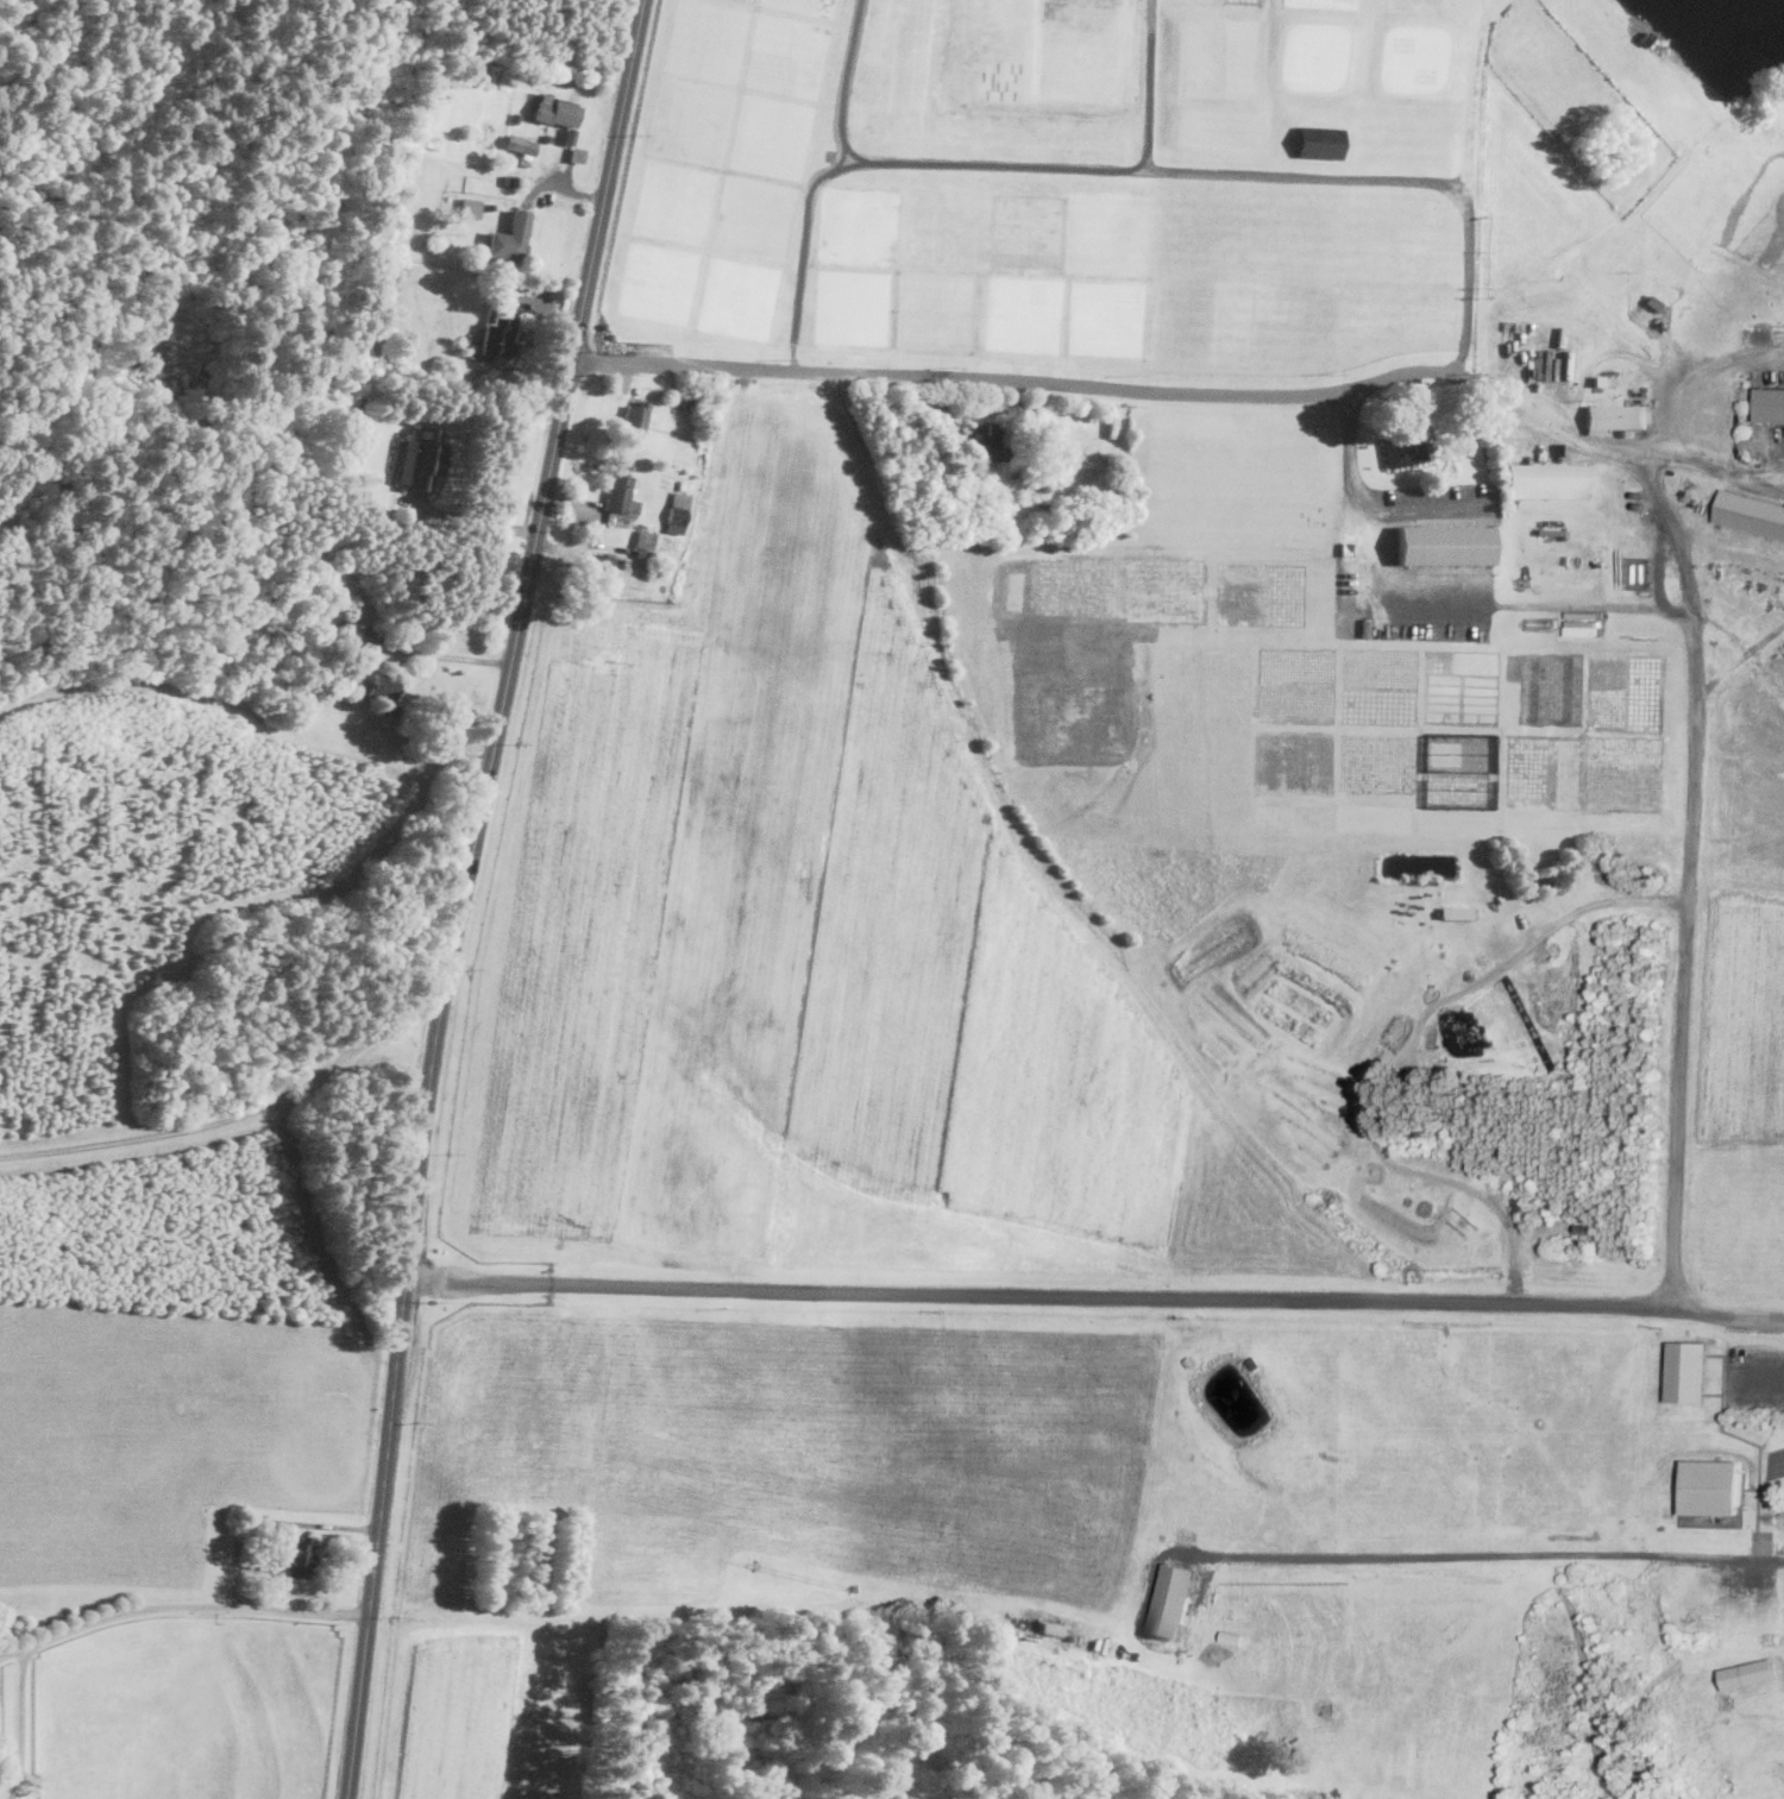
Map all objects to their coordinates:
building: (1646, 37)
building: (533, 78)
road: (846, 82)
road: (1148, 84)
building: (558, 114)
building: (517, 119)
building: (547, 138)
building: (1320, 139)
building: (521, 144)
building: (577, 155)
building: (509, 156)
road: (1160, 170)
building: (511, 181)
road: (576, 190)
building: (471, 208)
road: (1469, 216)
building: (510, 239)
building: (465, 254)
road: (804, 254)
building: (1653, 302)
building: (498, 338)
building: (396, 346)
road: (1609, 353)
building: (501, 378)
road: (1023, 379)
building: (1598, 380)
building: (1610, 380)
road: (1702, 382)
building: (686, 401)
building: (1770, 404)
building: (636, 416)
building: (1614, 417)
building: (985, 440)
building: (1405, 446)
road: (1620, 448)
building: (422, 458)
building: (1551, 480)
building: (1038, 490)
building: (621, 495)
building: (1006, 498)
road: (1426, 504)
building: (677, 512)
building: (1751, 514)
road: (477, 517)
building: (645, 543)
building: (1444, 545)
building: (602, 570)
road: (1437, 608)
building: (327, 614)
building: (1539, 622)
road: (433, 653)
building: (303, 671)
building: (383, 686)
road: (1689, 873)
road: (463, 894)
building: (1456, 912)
crop: (1143, 950)
road: (1406, 1051)
building: (1415, 1082)
road: (235, 1113)
building: (1584, 1227)
road: (1095, 1294)
building: (1189, 1361)
building: (1256, 1363)
building: (1689, 1363)
building: (1713, 1485)
road: (271, 1518)
building: (1771, 1518)
road: (1499, 1554)
building: (297, 1556)
building: (1173, 1602)
road: (197, 1603)
building: (1051, 1627)
building: (1232, 1636)
road: (17, 1647)
building: (1746, 1674)
building: (588, 1685)
road: (20, 1719)

